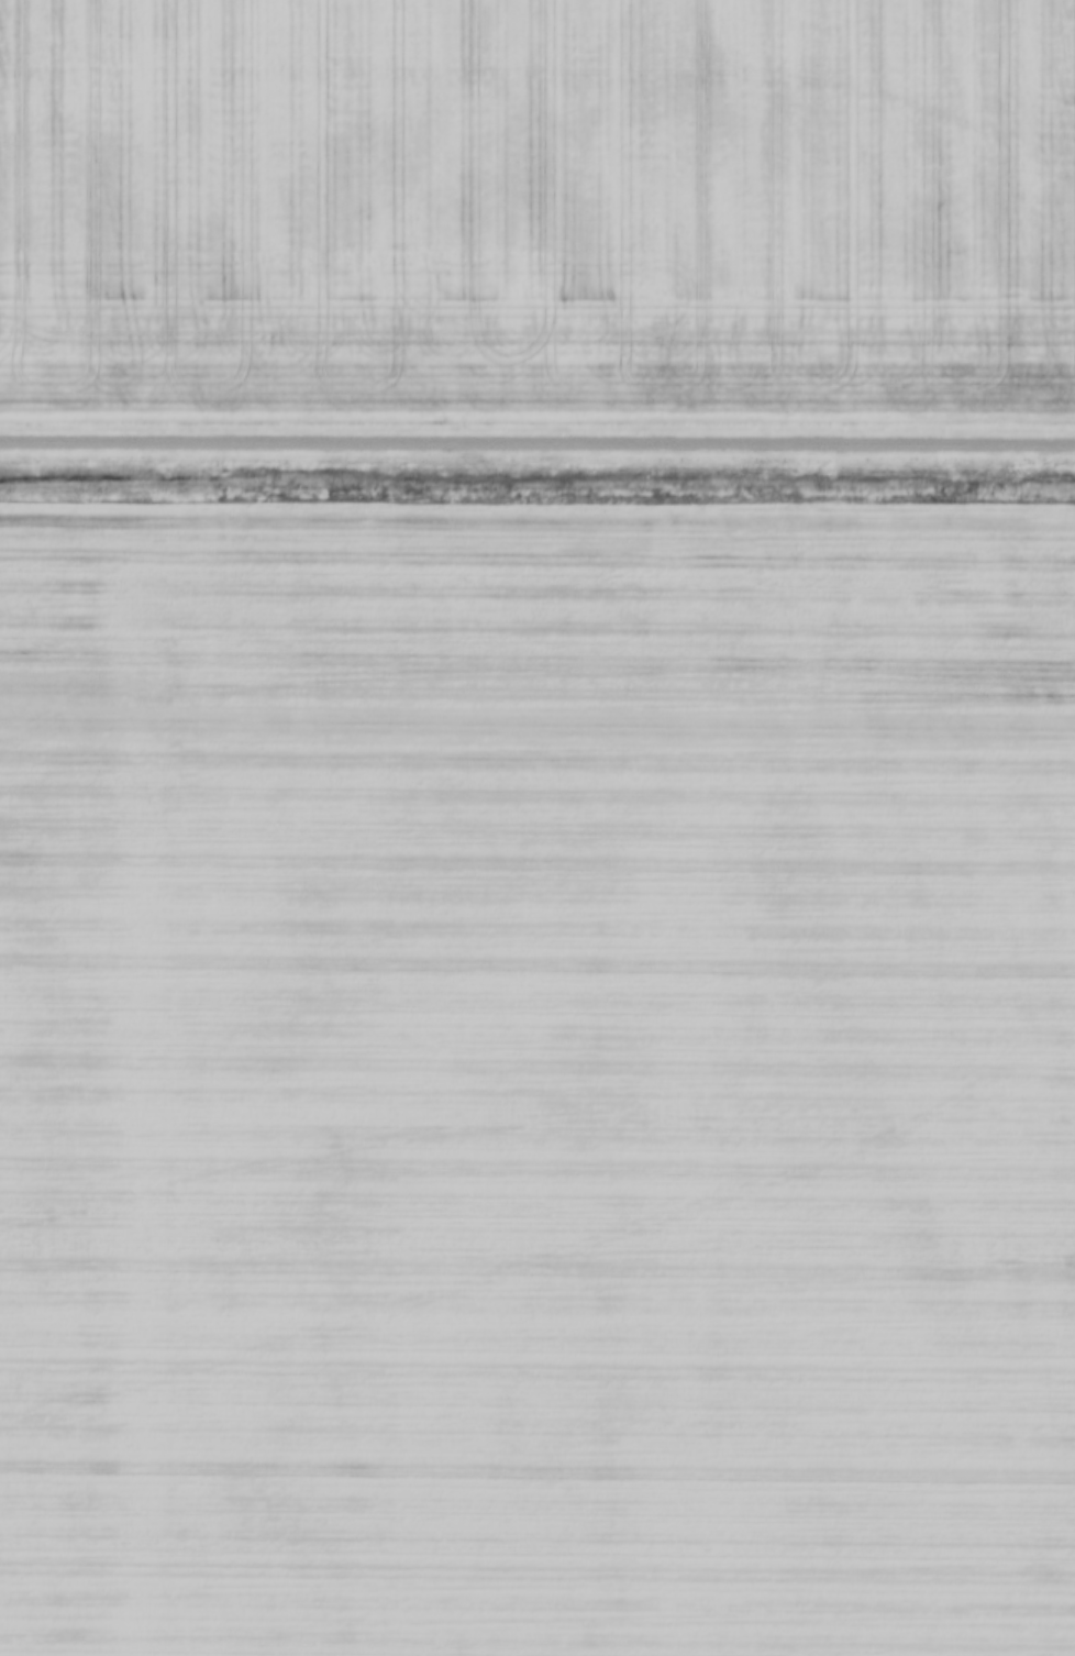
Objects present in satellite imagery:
road: (537, 439)

